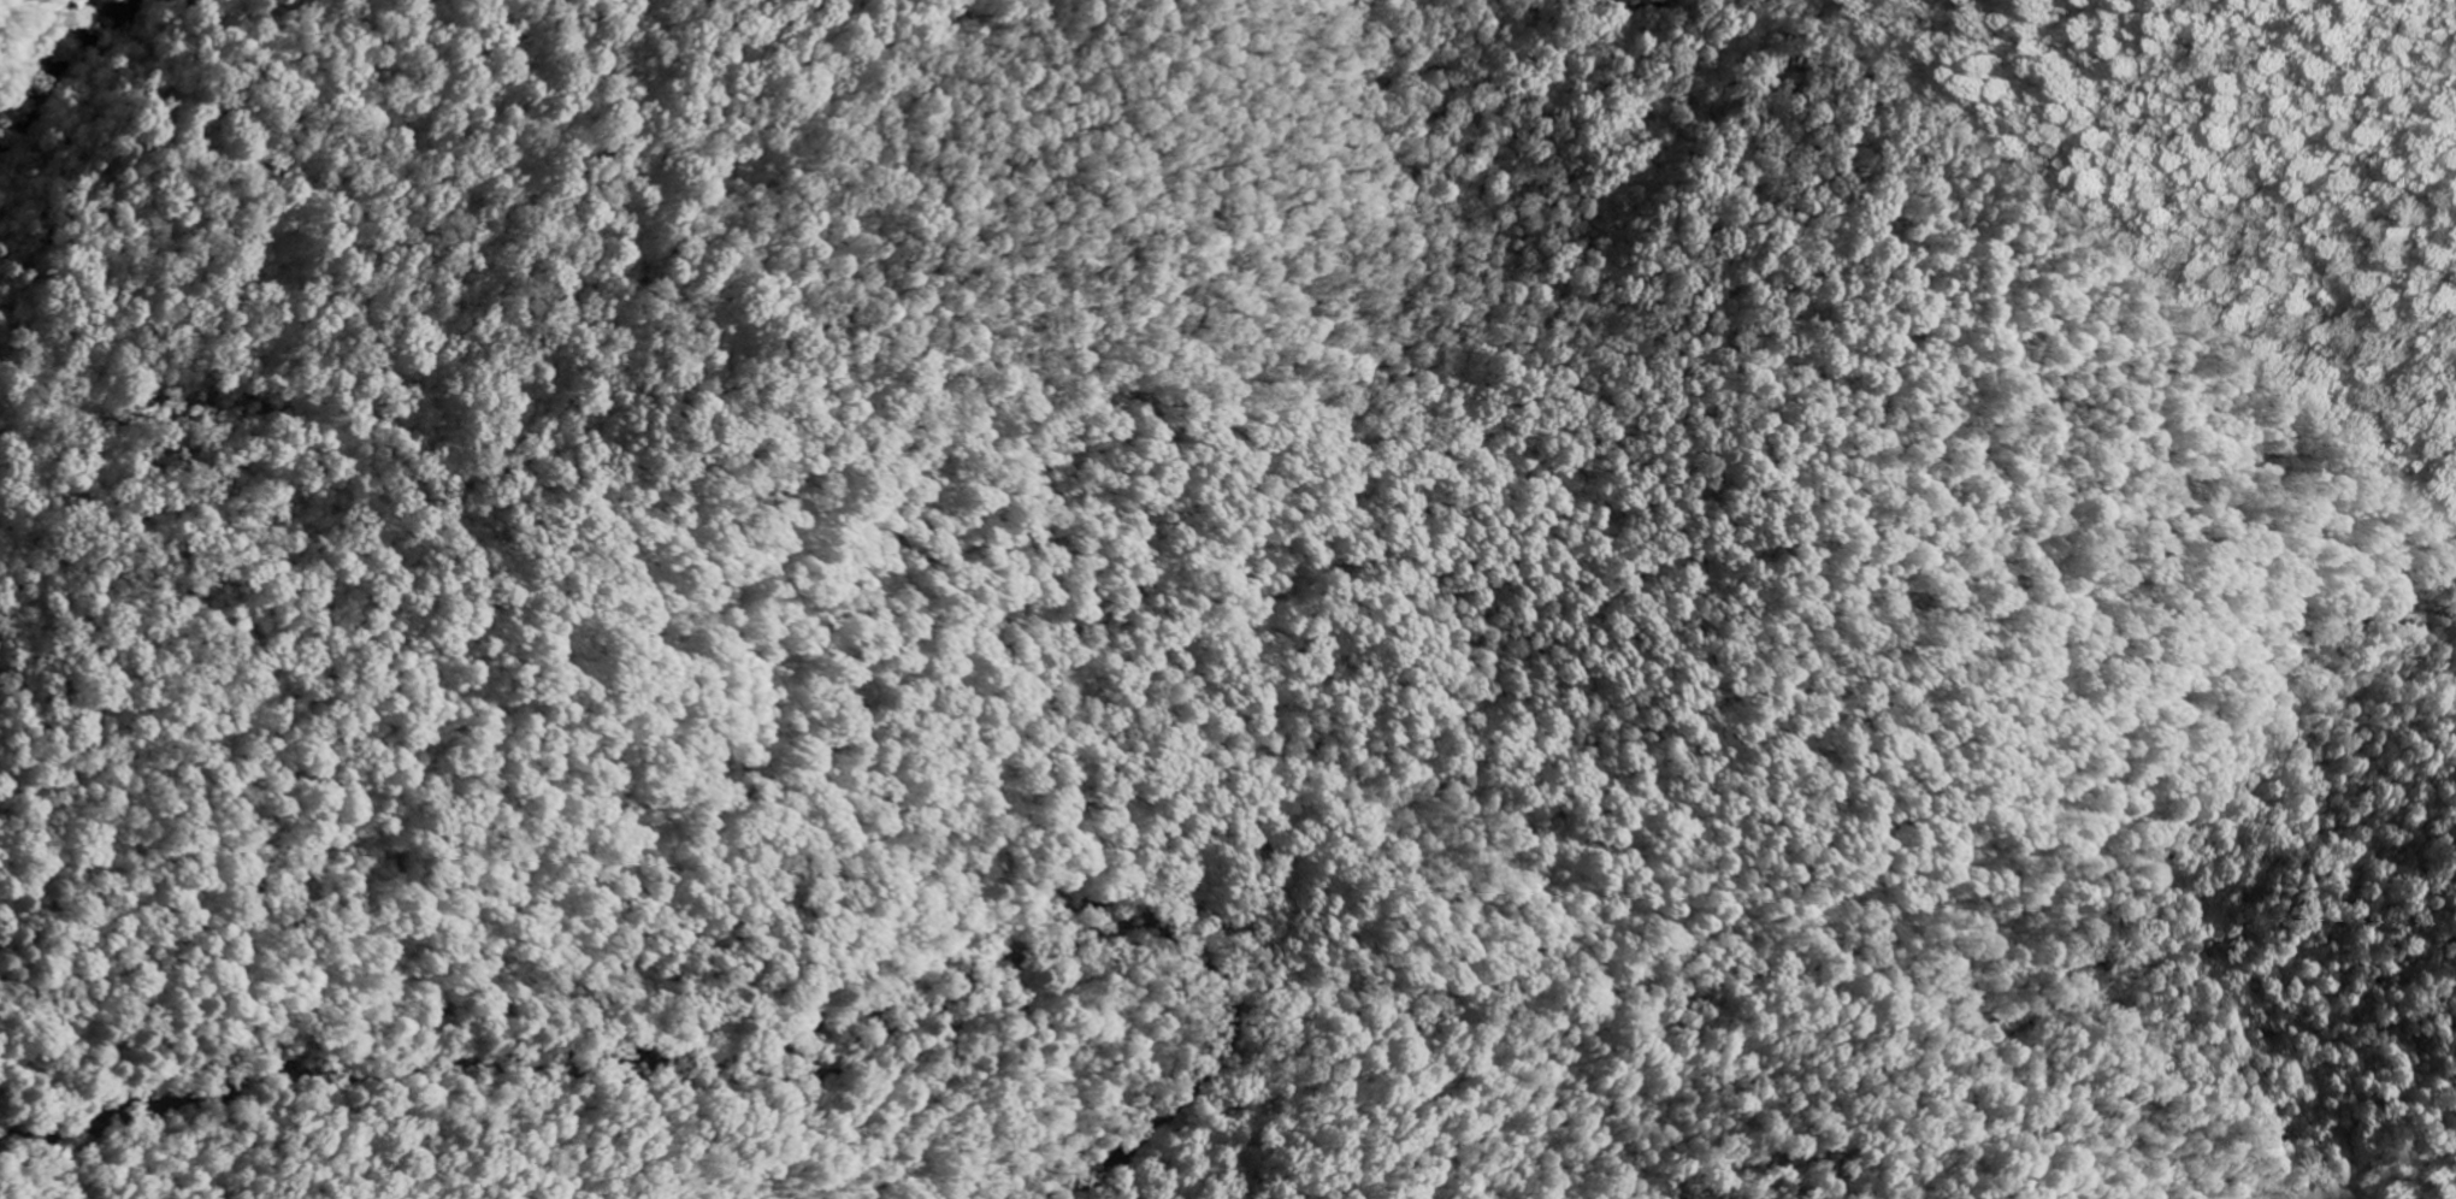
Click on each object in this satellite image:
road: (205, 149)
road: (108, 886)
road: (243, 1150)

